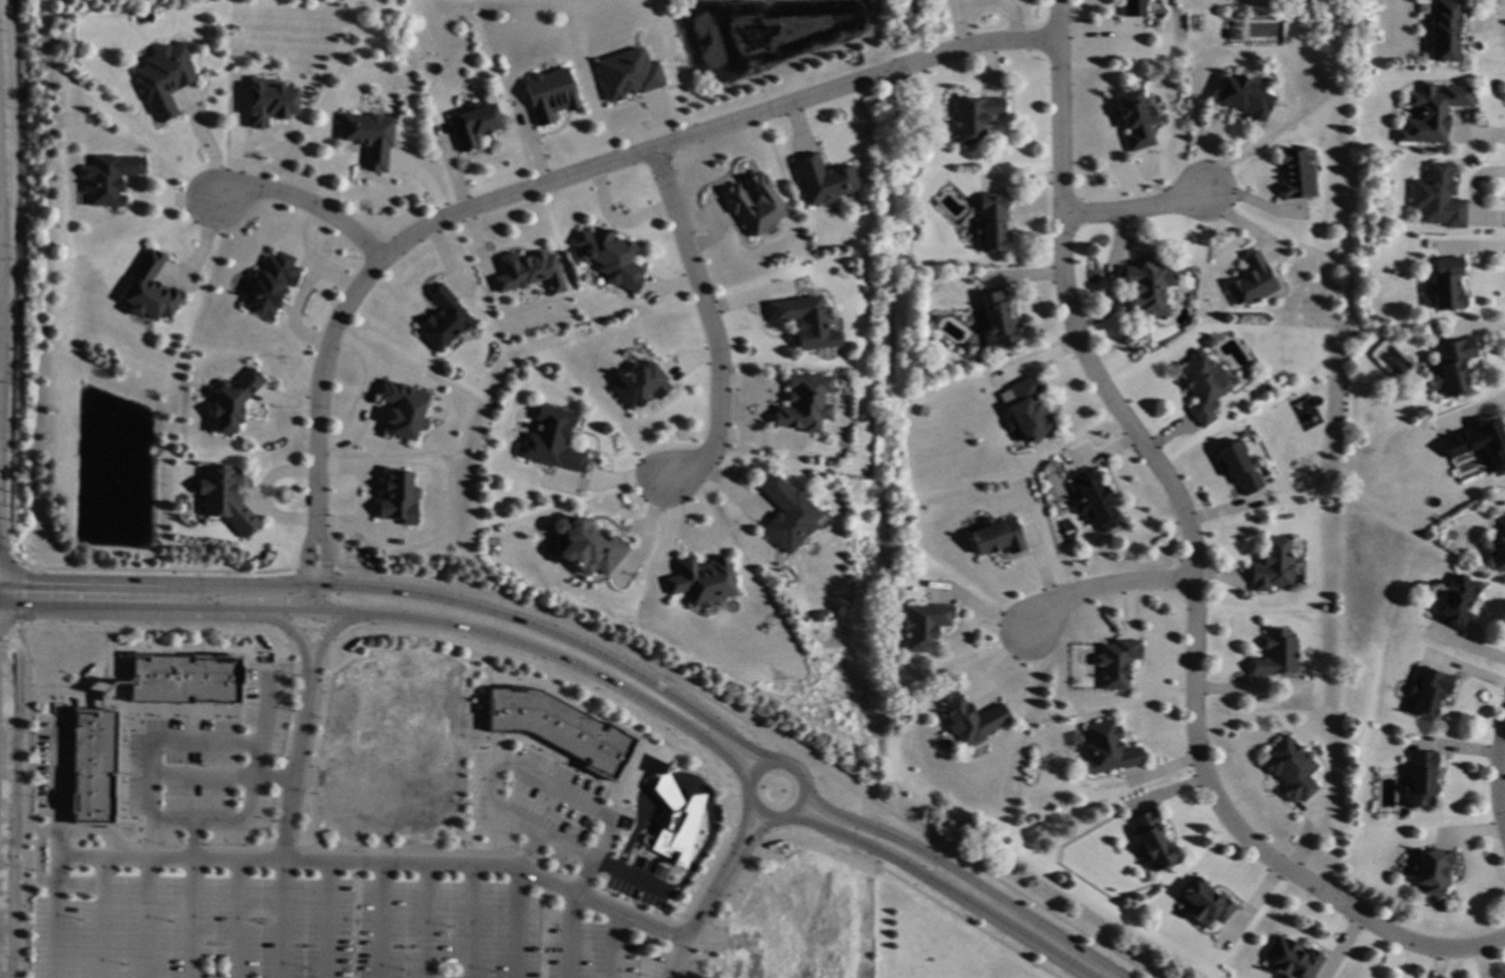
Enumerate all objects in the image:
building: (1132, 8)
building: (1420, 8)
building: (1233, 24)
building: (1444, 30)
building: (1232, 34)
building: (626, 73)
building: (163, 78)
building: (548, 93)
building: (1243, 96)
building: (267, 102)
building: (1431, 111)
building: (974, 116)
building: (1134, 118)
building: (472, 125)
building: (367, 136)
road: (207, 147)
road: (577, 175)
building: (1296, 175)
building: (108, 178)
building: (822, 178)
building: (1436, 197)
building: (753, 204)
road: (303, 205)
road: (1133, 208)
building: (991, 222)
building: (608, 257)
building: (526, 270)
building: (1251, 280)
building: (268, 283)
building: (1444, 283)
building: (1146, 287)
building: (148, 289)
building: (442, 318)
building: (934, 318)
building: (995, 318)
building: (803, 321)
road: (709, 325)
building: (1431, 331)
building: (1450, 366)
building: (638, 383)
building: (1202, 385)
road: (364, 395)
building: (231, 399)
building: (803, 404)
building: (403, 410)
building: (1025, 410)
building: (921, 411)
building: (549, 439)
building: (1476, 441)
building: (1240, 466)
road: (606, 482)
building: (397, 498)
building: (224, 499)
building: (1093, 499)
building: (785, 516)
road: (645, 531)
building: (995, 534)
building: (586, 544)
building: (1498, 548)
road: (6, 553)
road: (1194, 556)
building: (1275, 565)
road: (305, 569)
road: (150, 570)
road: (322, 571)
building: (701, 580)
road: (220, 585)
road: (1107, 587)
road: (17, 593)
road: (52, 597)
road: (307, 598)
road: (334, 598)
building: (1457, 602)
road: (216, 610)
building: (815, 615)
road: (251, 617)
road: (322, 618)
road: (555, 618)
building: (923, 625)
road: (543, 627)
road: (329, 632)
road: (345, 632)
road: (2, 637)
road: (525, 644)
building: (1277, 654)
building: (1115, 662)
building: (183, 677)
building: (1428, 690)
road: (95, 693)
road: (112, 699)
road: (266, 707)
building: (971, 719)
building: (558, 726)
road: (739, 731)
road: (682, 734)
road: (252, 744)
road: (317, 747)
road: (746, 748)
building: (1107, 748)
road: (468, 750)
road: (727, 755)
road: (806, 762)
building: (90, 765)
road: (789, 767)
building: (1290, 767)
parking lot: (207, 768)
road: (523, 774)
road: (156, 776)
road: (1496, 776)
building: (1420, 779)
road: (717, 783)
road: (24, 801)
parking lot: (528, 802)
road: (860, 811)
building: (674, 819)
road: (286, 823)
road: (743, 830)
road: (745, 834)
road: (785, 835)
road: (751, 837)
road: (821, 837)
building: (1153, 838)
road: (56, 852)
road: (341, 852)
road: (530, 853)
road: (38, 858)
road: (396, 865)
building: (1431, 871)
road: (958, 876)
road: (1007, 887)
road: (947, 893)
building: (1205, 904)
road: (934, 905)
road: (353, 915)
road: (699, 917)
road: (101, 919)
road: (146, 919)
road: (191, 919)
road: (236, 920)
road: (328, 921)
road: (381, 921)
road: (427, 922)
road: (471, 922)
road: (518, 924)
parking lot: (312, 933)
road: (570, 936)
road: (615, 946)
building: (1290, 958)

